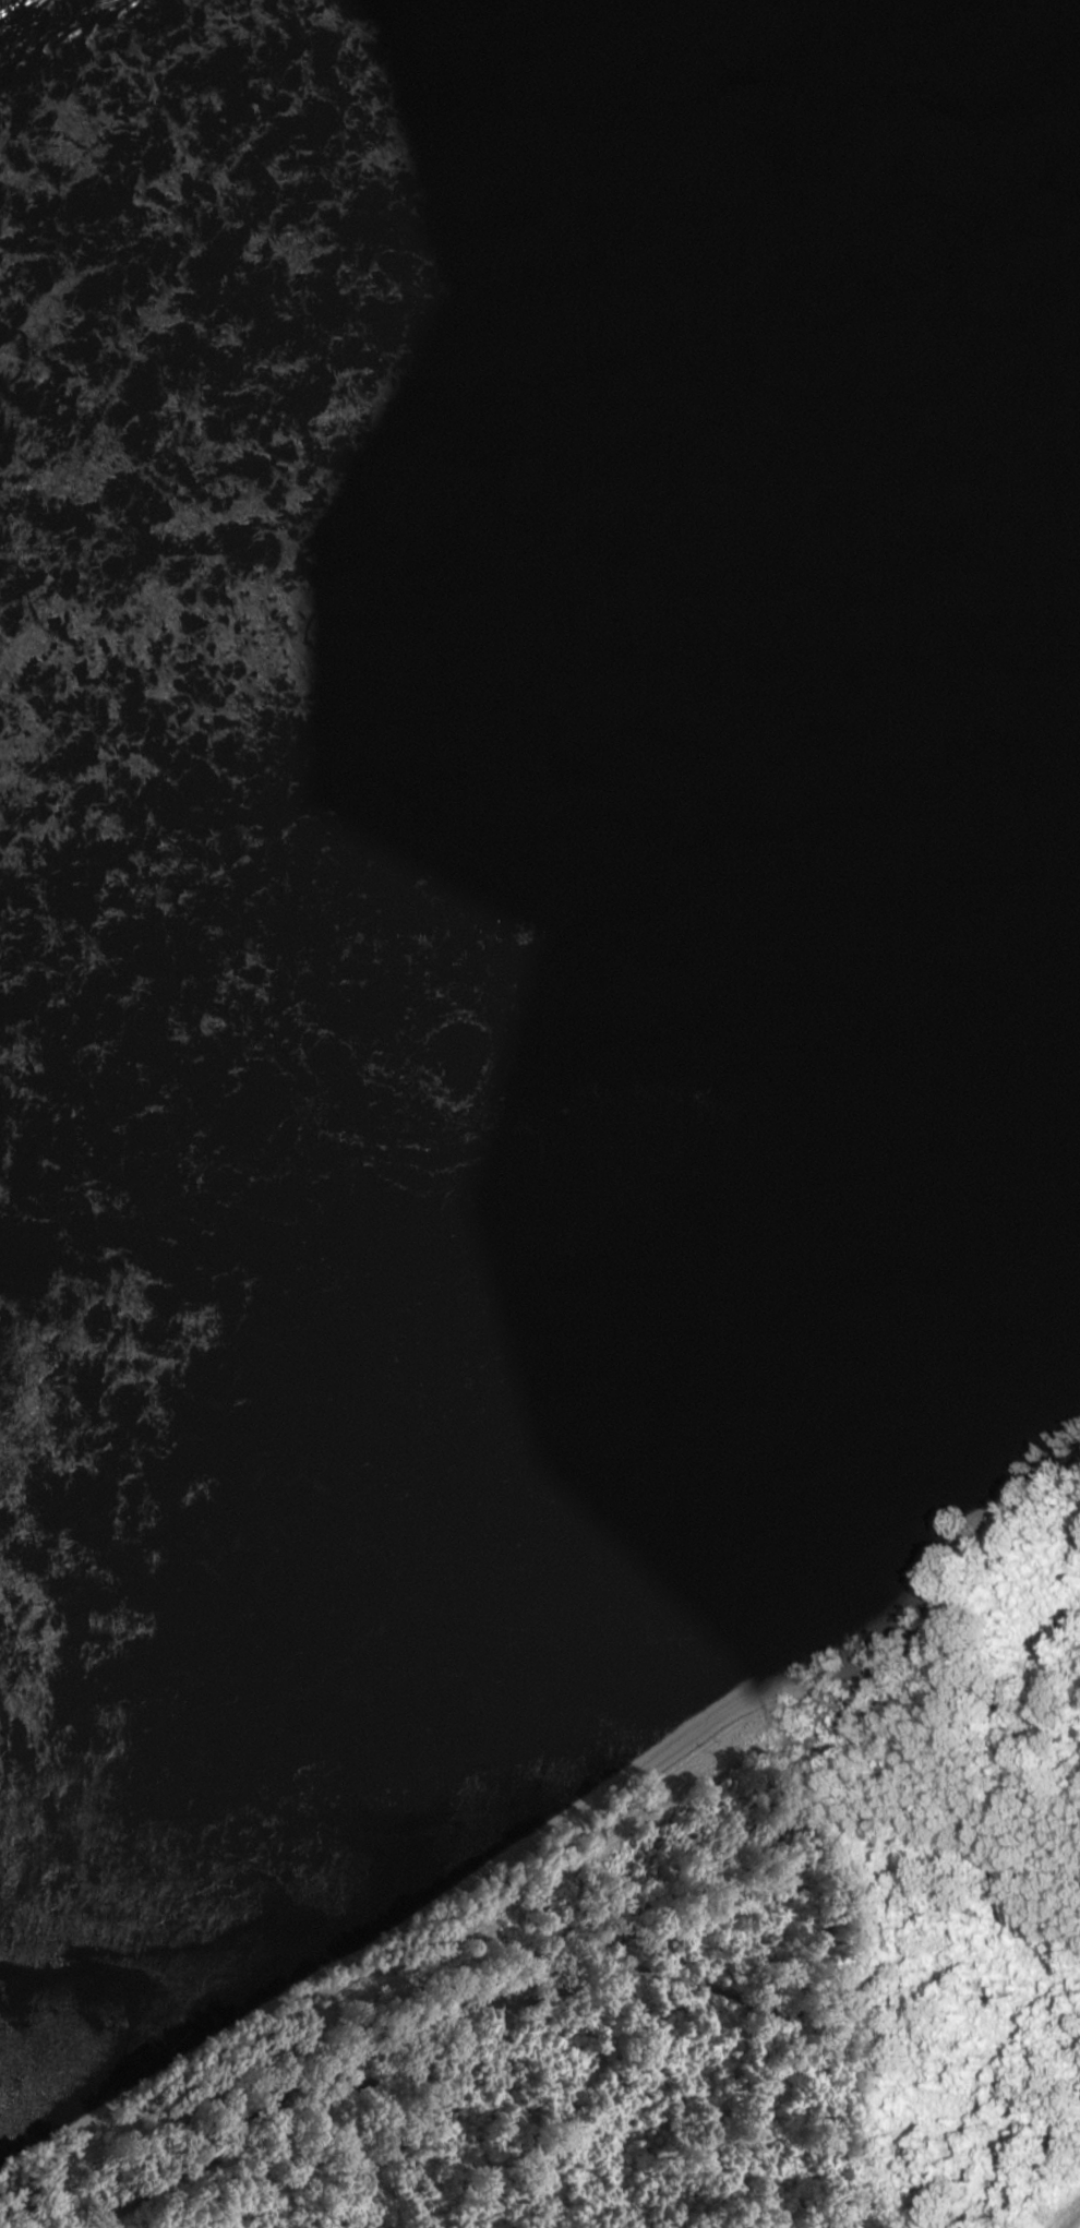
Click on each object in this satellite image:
river: (536, 314)

